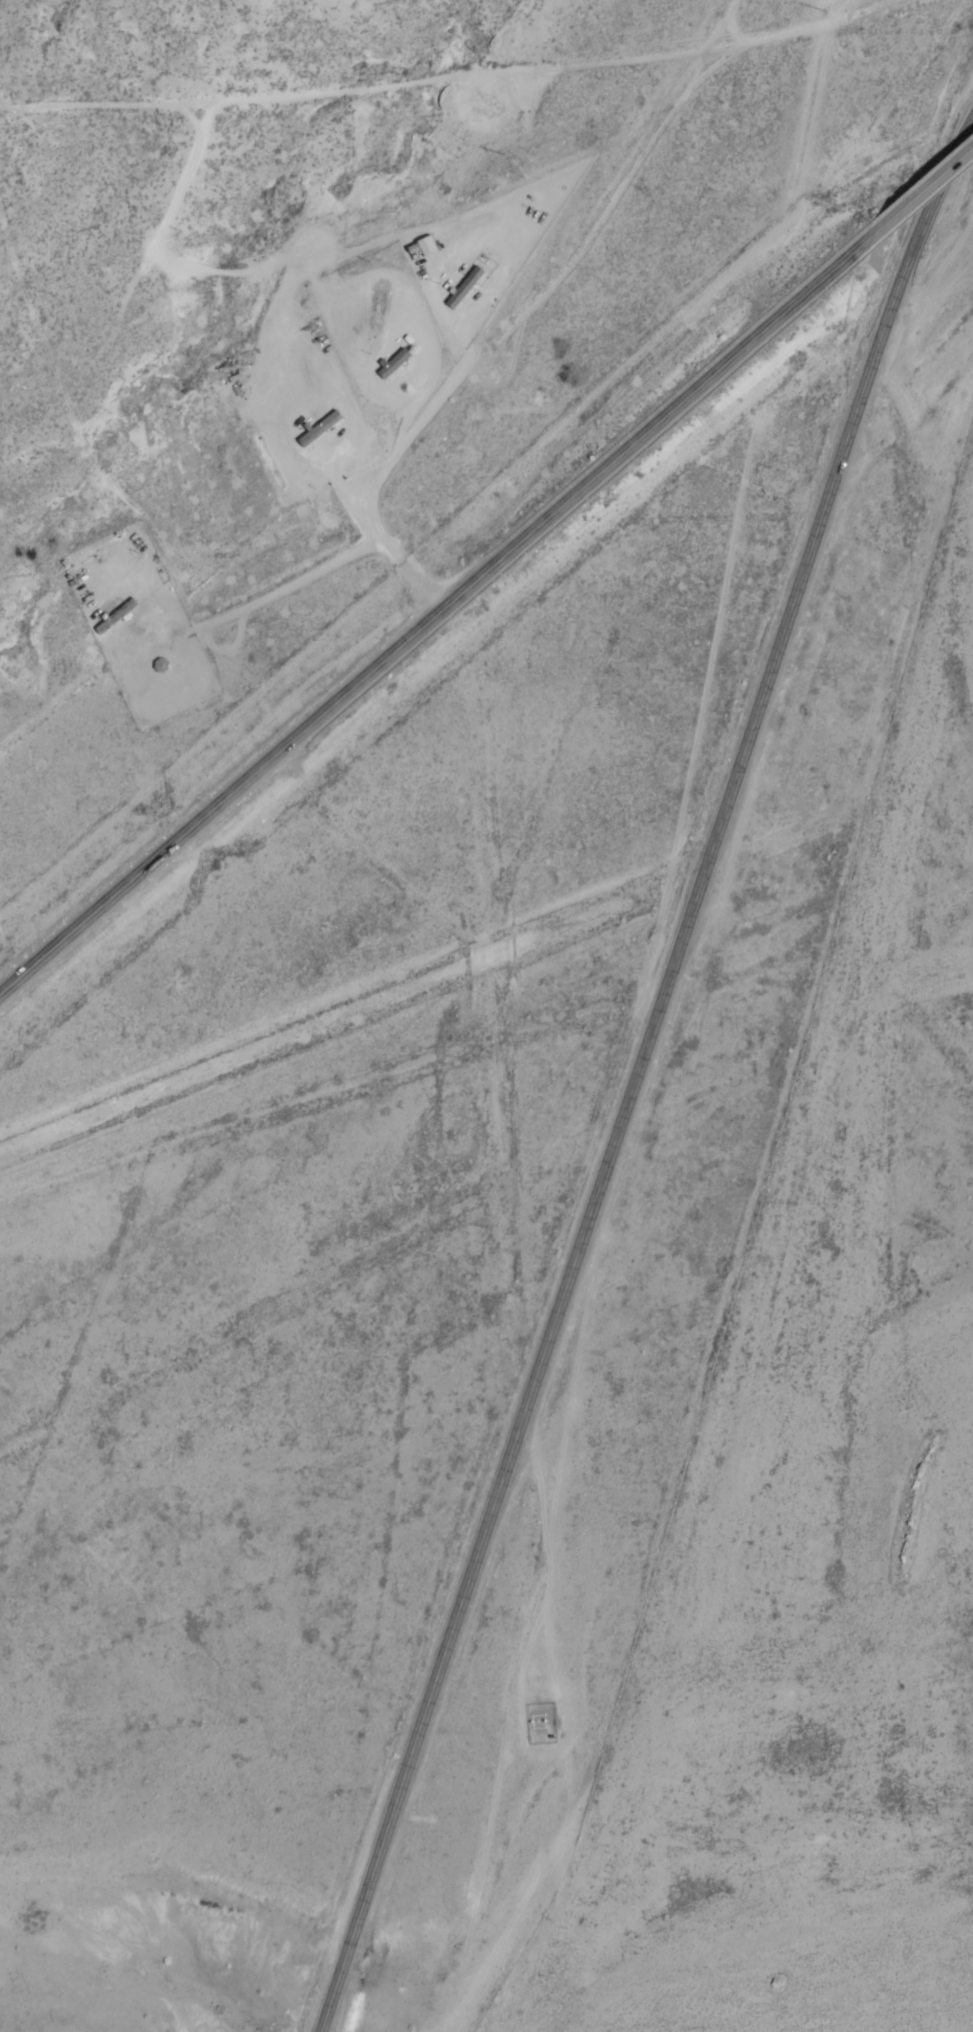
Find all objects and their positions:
road: (916, 196)
building: (427, 245)
building: (465, 286)
building: (393, 362)
building: (321, 428)
road: (655, 428)
building: (117, 616)
road: (225, 803)
road: (562, 930)
road: (641, 1072)

